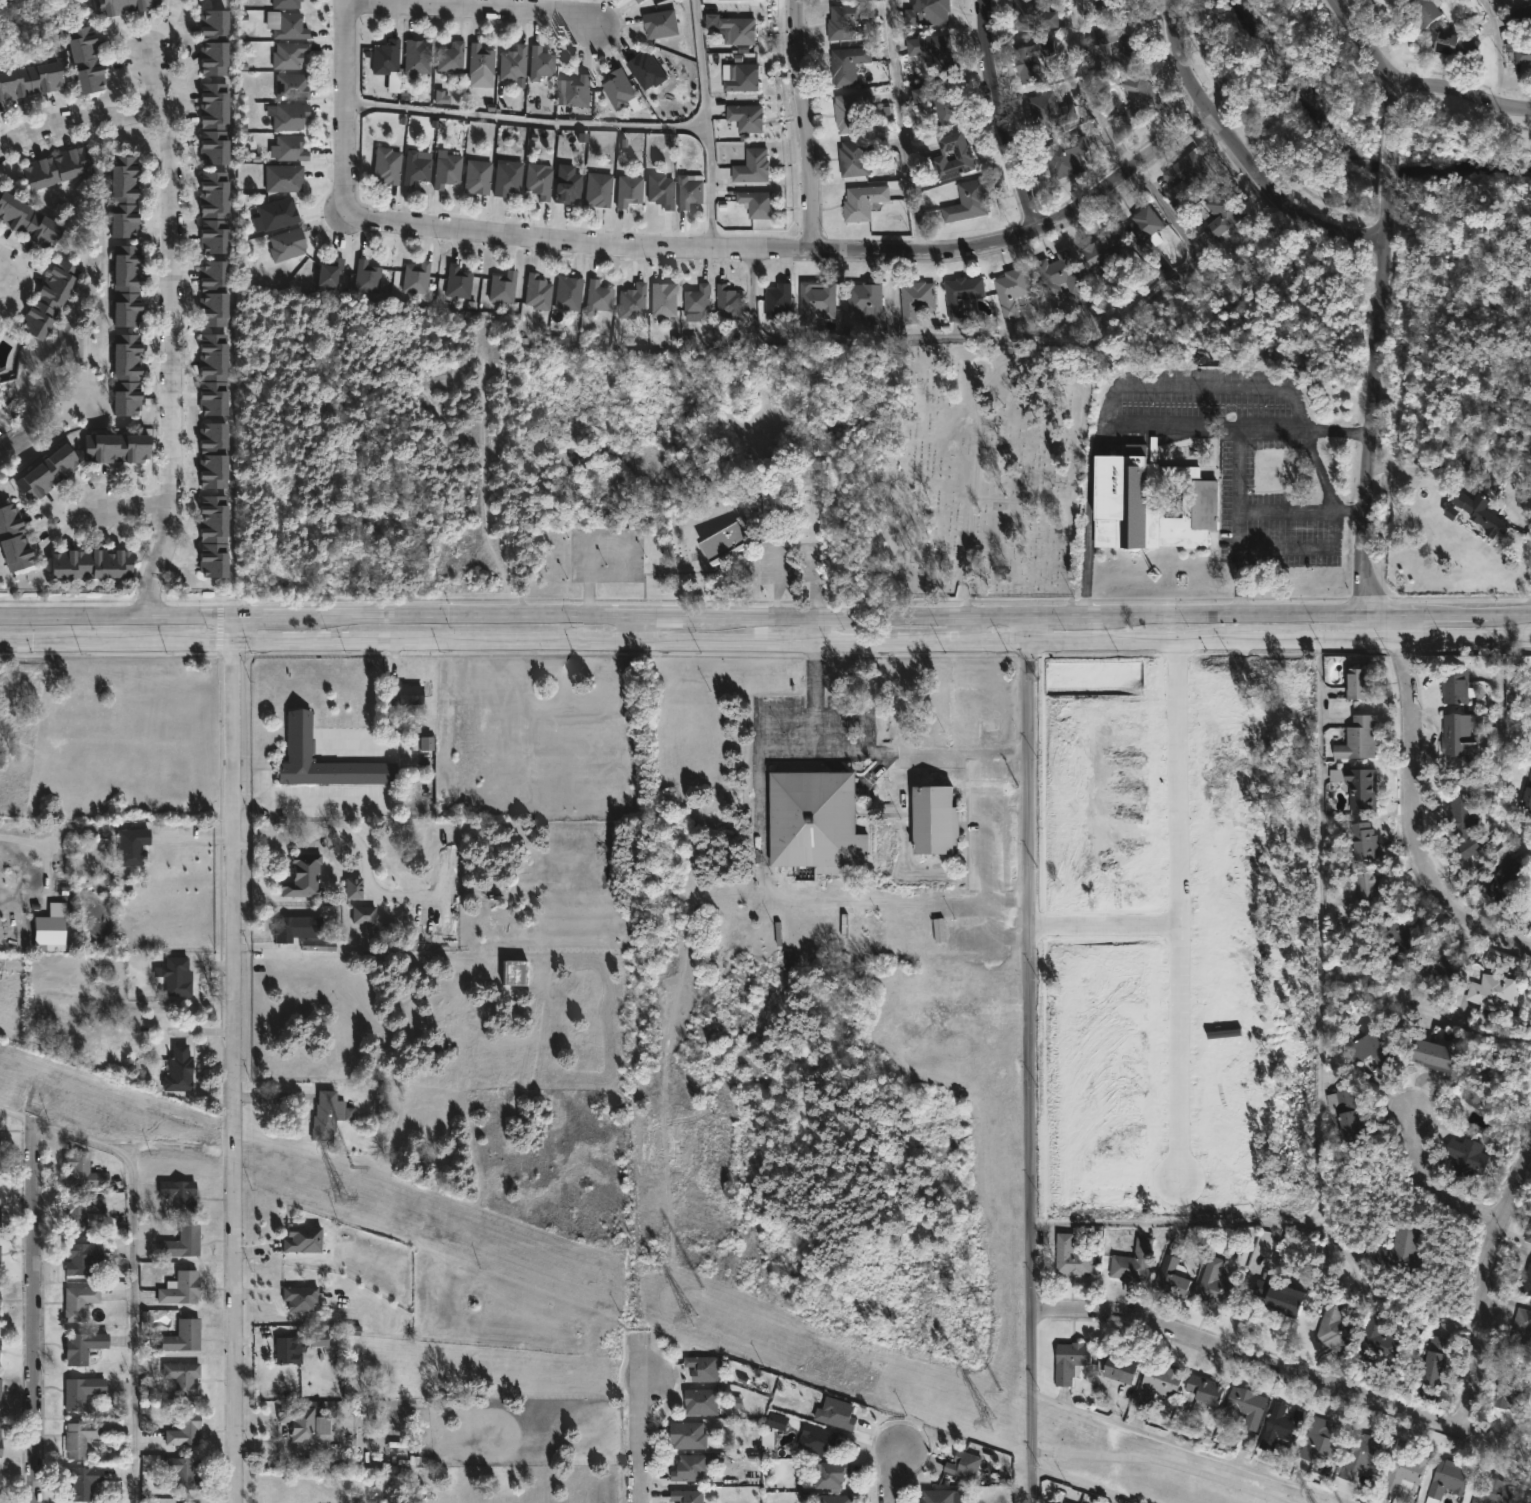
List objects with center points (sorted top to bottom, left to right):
building: (636, 0)
building: (1524, 0)
building: (641, 1)
building: (288, 4)
building: (1110, 5)
road: (474, 6)
building: (124, 7)
building: (1424, 10)
building: (926, 13)
building: (1523, 15)
building: (1030, 16)
building: (844, 20)
building: (664, 24)
building: (288, 26)
road: (165, 27)
building: (742, 29)
building: (1121, 40)
building: (214, 42)
building: (1454, 45)
road: (1500, 51)
building: (930, 52)
building: (1522, 53)
building: (291, 56)
building: (388, 58)
building: (418, 58)
road: (1373, 58)
building: (453, 59)
building: (88, 61)
building: (482, 61)
building: (1032, 61)
building: (515, 64)
building: (543, 64)
building: (846, 64)
building: (650, 72)
building: (745, 78)
building: (32, 82)
building: (293, 87)
road: (1085, 88)
building: (621, 89)
building: (580, 91)
road: (1462, 95)
building: (442, 98)
building: (1138, 99)
building: (937, 102)
building: (1046, 110)
building: (850, 111)
road: (135, 113)
road: (1005, 115)
building: (749, 116)
building: (292, 117)
road: (708, 120)
road: (526, 121)
building: (213, 123)
road: (806, 124)
road: (900, 125)
road: (48, 126)
building: (292, 148)
road: (1241, 154)
building: (856, 155)
building: (951, 155)
building: (1064, 156)
road: (1388, 158)
building: (753, 165)
building: (389, 166)
building: (57, 167)
building: (418, 168)
building: (449, 170)
building: (1189, 171)
building: (479, 176)
building: (285, 178)
building: (509, 178)
building: (541, 181)
building: (569, 186)
building: (601, 189)
building: (631, 190)
building: (664, 190)
building: (691, 191)
building: (127, 195)
building: (966, 200)
building: (861, 201)
building: (756, 202)
building: (216, 211)
building: (1221, 212)
building: (279, 214)
building: (29, 219)
road: (475, 224)
building: (1142, 229)
road: (1028, 230)
building: (289, 244)
building: (1100, 249)
building: (334, 272)
building: (1057, 273)
building: (370, 277)
building: (419, 277)
building: (460, 282)
building: (128, 286)
building: (505, 287)
road: (168, 290)
building: (1009, 290)
building: (540, 291)
building: (216, 292)
building: (570, 293)
building: (960, 295)
building: (600, 297)
building: (49, 298)
building: (667, 299)
building: (915, 299)
building: (814, 300)
building: (864, 300)
building: (634, 301)
building: (732, 301)
building: (778, 301)
building: (700, 302)
building: (561, 342)
road: (999, 342)
building: (128, 374)
building: (216, 374)
building: (1, 377)
road: (1367, 405)
road: (1183, 425)
road: (1274, 431)
building: (1524, 435)
building: (118, 448)
building: (215, 455)
building: (780, 460)
building: (50, 472)
park: (985, 473)
building: (1148, 500)
building: (778, 501)
road: (129, 506)
road: (1299, 509)
building: (1451, 512)
building: (1480, 512)
building: (216, 538)
building: (14, 539)
building: (729, 543)
road: (160, 553)
building: (93, 563)
road: (149, 594)
road: (765, 614)
road: (1384, 622)
road: (1035, 624)
road: (633, 626)
road: (966, 626)
road: (816, 627)
road: (234, 628)
road: (765, 639)
building: (1354, 684)
building: (1455, 687)
building: (407, 693)
building: (1260, 727)
building: (1458, 733)
building: (1356, 739)
building: (426, 744)
road: (1503, 747)
road: (876, 750)
building: (310, 757)
building: (1355, 785)
building: (1526, 796)
road: (311, 801)
building: (935, 820)
road: (1410, 821)
building: (815, 822)
building: (1460, 825)
building: (1362, 840)
road: (38, 846)
building: (134, 848)
building: (305, 877)
building: (1506, 883)
building: (1367, 886)
building: (353, 888)
road: (1179, 907)
building: (366, 915)
road: (1109, 922)
building: (50, 926)
building: (294, 930)
road: (1321, 930)
building: (1397, 935)
building: (318, 946)
building: (1443, 961)
road: (1037, 973)
building: (520, 974)
building: (177, 977)
building: (1491, 988)
building: (1361, 1045)
building: (1433, 1054)
building: (181, 1069)
road: (234, 1073)
building: (1475, 1096)
building: (1344, 1113)
building: (331, 1115)
building: (1467, 1154)
building: (0, 1168)
building: (84, 1173)
road: (1431, 1189)
building: (181, 1195)
power tower: (344, 1199)
building: (0, 1204)
building: (83, 1210)
road: (1196, 1219)
building: (1528, 1233)
building: (305, 1239)
building: (184, 1243)
building: (1399, 1246)
building: (1, 1254)
building: (1070, 1256)
building: (84, 1258)
road: (132, 1261)
building: (1132, 1261)
building: (1171, 1271)
building: (1526, 1281)
building: (1215, 1283)
building: (181, 1289)
road: (1482, 1289)
building: (1276, 1296)
building: (302, 1298)
building: (80, 1302)
road: (34, 1312)
power tower: (696, 1318)
building: (1336, 1326)
building: (1522, 1327)
building: (185, 1336)
building: (318, 1339)
building: (1377, 1344)
building: (85, 1346)
building: (0, 1349)
building: (290, 1350)
building: (1069, 1360)
road: (1284, 1364)
building: (1433, 1365)
building: (706, 1367)
building: (1118, 1368)
building: (184, 1378)
building: (1156, 1382)
building: (1, 1388)
building: (1204, 1388)
building: (83, 1392)
building: (1512, 1392)
building: (704, 1401)
road: (1033, 1405)
building: (1245, 1405)
building: (837, 1413)
power tower: (982, 1418)
building: (777, 1421)
building: (301, 1422)
building: (1282, 1426)
building: (185, 1430)
building: (690, 1435)
road: (636, 1436)
building: (81, 1438)
building: (814, 1438)
building: (1321, 1438)
building: (1, 1442)
road: (292, 1446)
road: (1189, 1448)
building: (1358, 1460)
building: (962, 1466)
building: (693, 1467)
building: (1406, 1468)
building: (185, 1472)
building: (826, 1473)
road: (890, 1474)
building: (1447, 1479)
building: (1, 1481)
building: (84, 1483)
road: (1088, 1485)
building: (1492, 1490)
building: (691, 1496)
building: (937, 1496)
building: (834, 1499)
building: (1064, 1502)
building: (1066, 1502)

